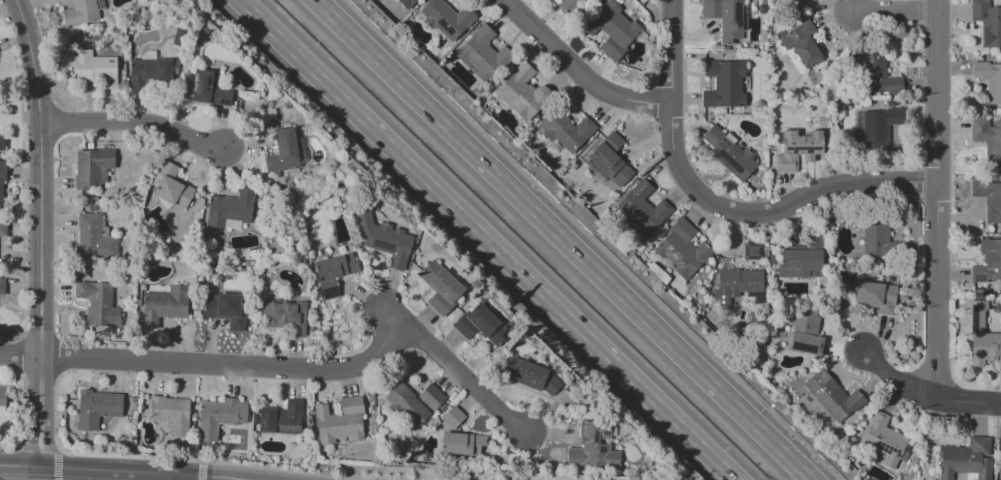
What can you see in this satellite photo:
building: (801, 2)
building: (408, 5)
building: (568, 6)
road: (894, 10)
building: (82, 11)
rooftop solar panel: (738, 12)
building: (446, 19)
building: (728, 19)
building: (987, 23)
rooftop solar panel: (445, 29)
building: (612, 31)
building: (802, 43)
building: (484, 56)
building: (94, 70)
road: (577, 70)
building: (149, 73)
building: (878, 75)
building: (989, 79)
rooftop solar panel: (196, 82)
building: (516, 82)
rooftop solar panel: (207, 83)
building: (724, 84)
rooftop solar panel: (207, 89)
building: (208, 89)
building: (528, 104)
road: (669, 109)
building: (822, 121)
road: (137, 123)
building: (879, 128)
building: (567, 131)
building: (1, 142)
building: (985, 144)
rooftop solar panel: (805, 148)
building: (797, 149)
building: (283, 152)
building: (728, 152)
building: (612, 161)
rooftop solar panel: (731, 161)
building: (91, 166)
building: (1, 183)
building: (171, 186)
road: (822, 188)
road: (936, 198)
building: (989, 198)
building: (229, 208)
building: (643, 208)
building: (2, 228)
road: (39, 231)
building: (874, 234)
building: (92, 238)
building: (383, 238)
road: (22, 239)
road: (487, 240)
road: (562, 240)
building: (681, 251)
building: (753, 251)
building: (799, 258)
building: (986, 265)
building: (333, 272)
rooftop solar panel: (978, 277)
building: (740, 282)
building: (1, 286)
building: (439, 287)
rooftop solar panel: (327, 292)
building: (877, 297)
building: (97, 303)
building: (163, 305)
building: (224, 309)
building: (285, 316)
building: (804, 320)
rooftop solar panel: (973, 320)
building: (481, 325)
building: (983, 338)
building: (806, 344)
rooftop solar panel: (1000, 345)
rooftop solar panel: (803, 347)
road: (20, 358)
road: (314, 368)
building: (530, 376)
road: (928, 390)
building: (431, 396)
building: (833, 396)
building: (2, 397)
building: (406, 405)
building: (96, 408)
building: (171, 414)
building: (219, 416)
building: (452, 417)
building: (280, 418)
building: (339, 422)
building: (888, 442)
building: (461, 443)
road: (55, 446)
building: (592, 447)
rooftop solar panel: (886, 449)
road: (167, 458)
building: (966, 458)
road: (200, 470)
road: (121, 471)
building: (1000, 473)
road: (179, 477)
road: (1, 479)

